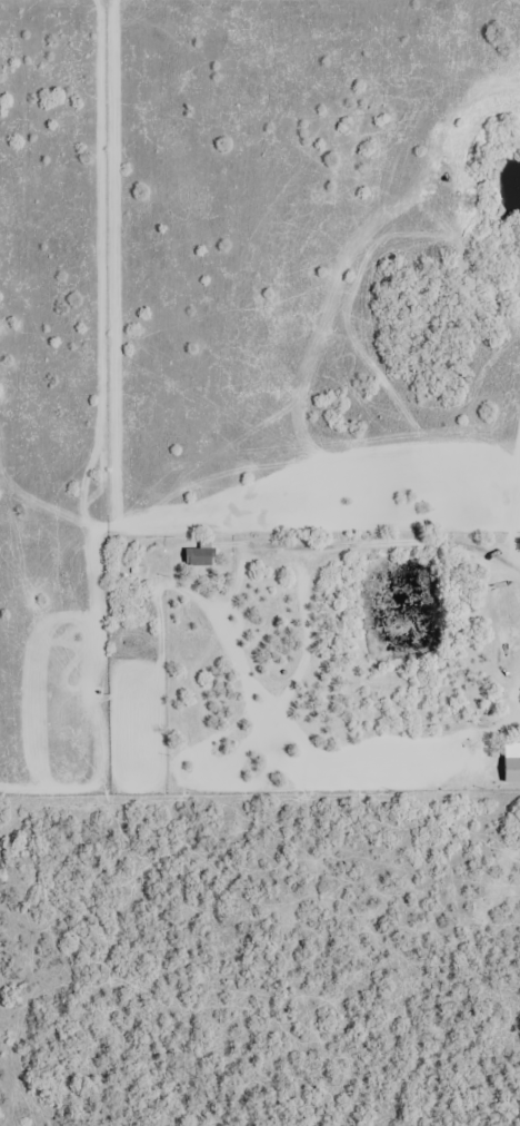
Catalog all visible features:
building: (202, 556)
building: (513, 769)

